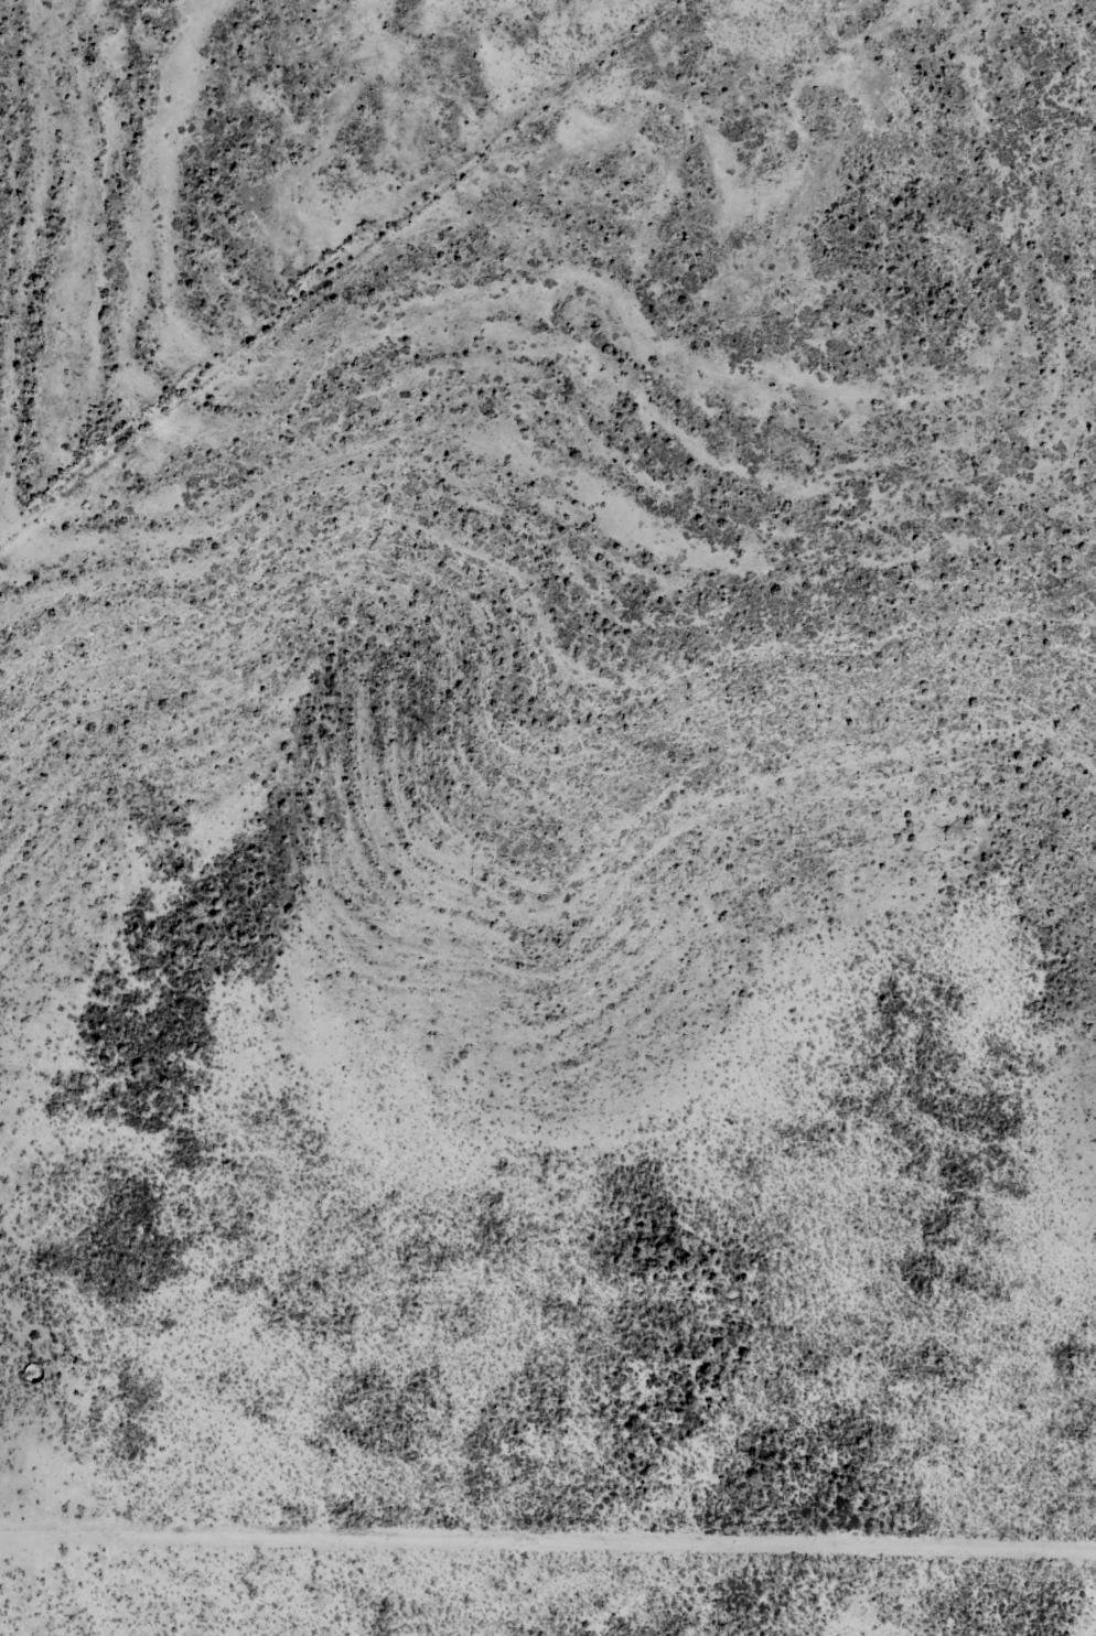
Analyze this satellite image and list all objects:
road: (97, 1543)

